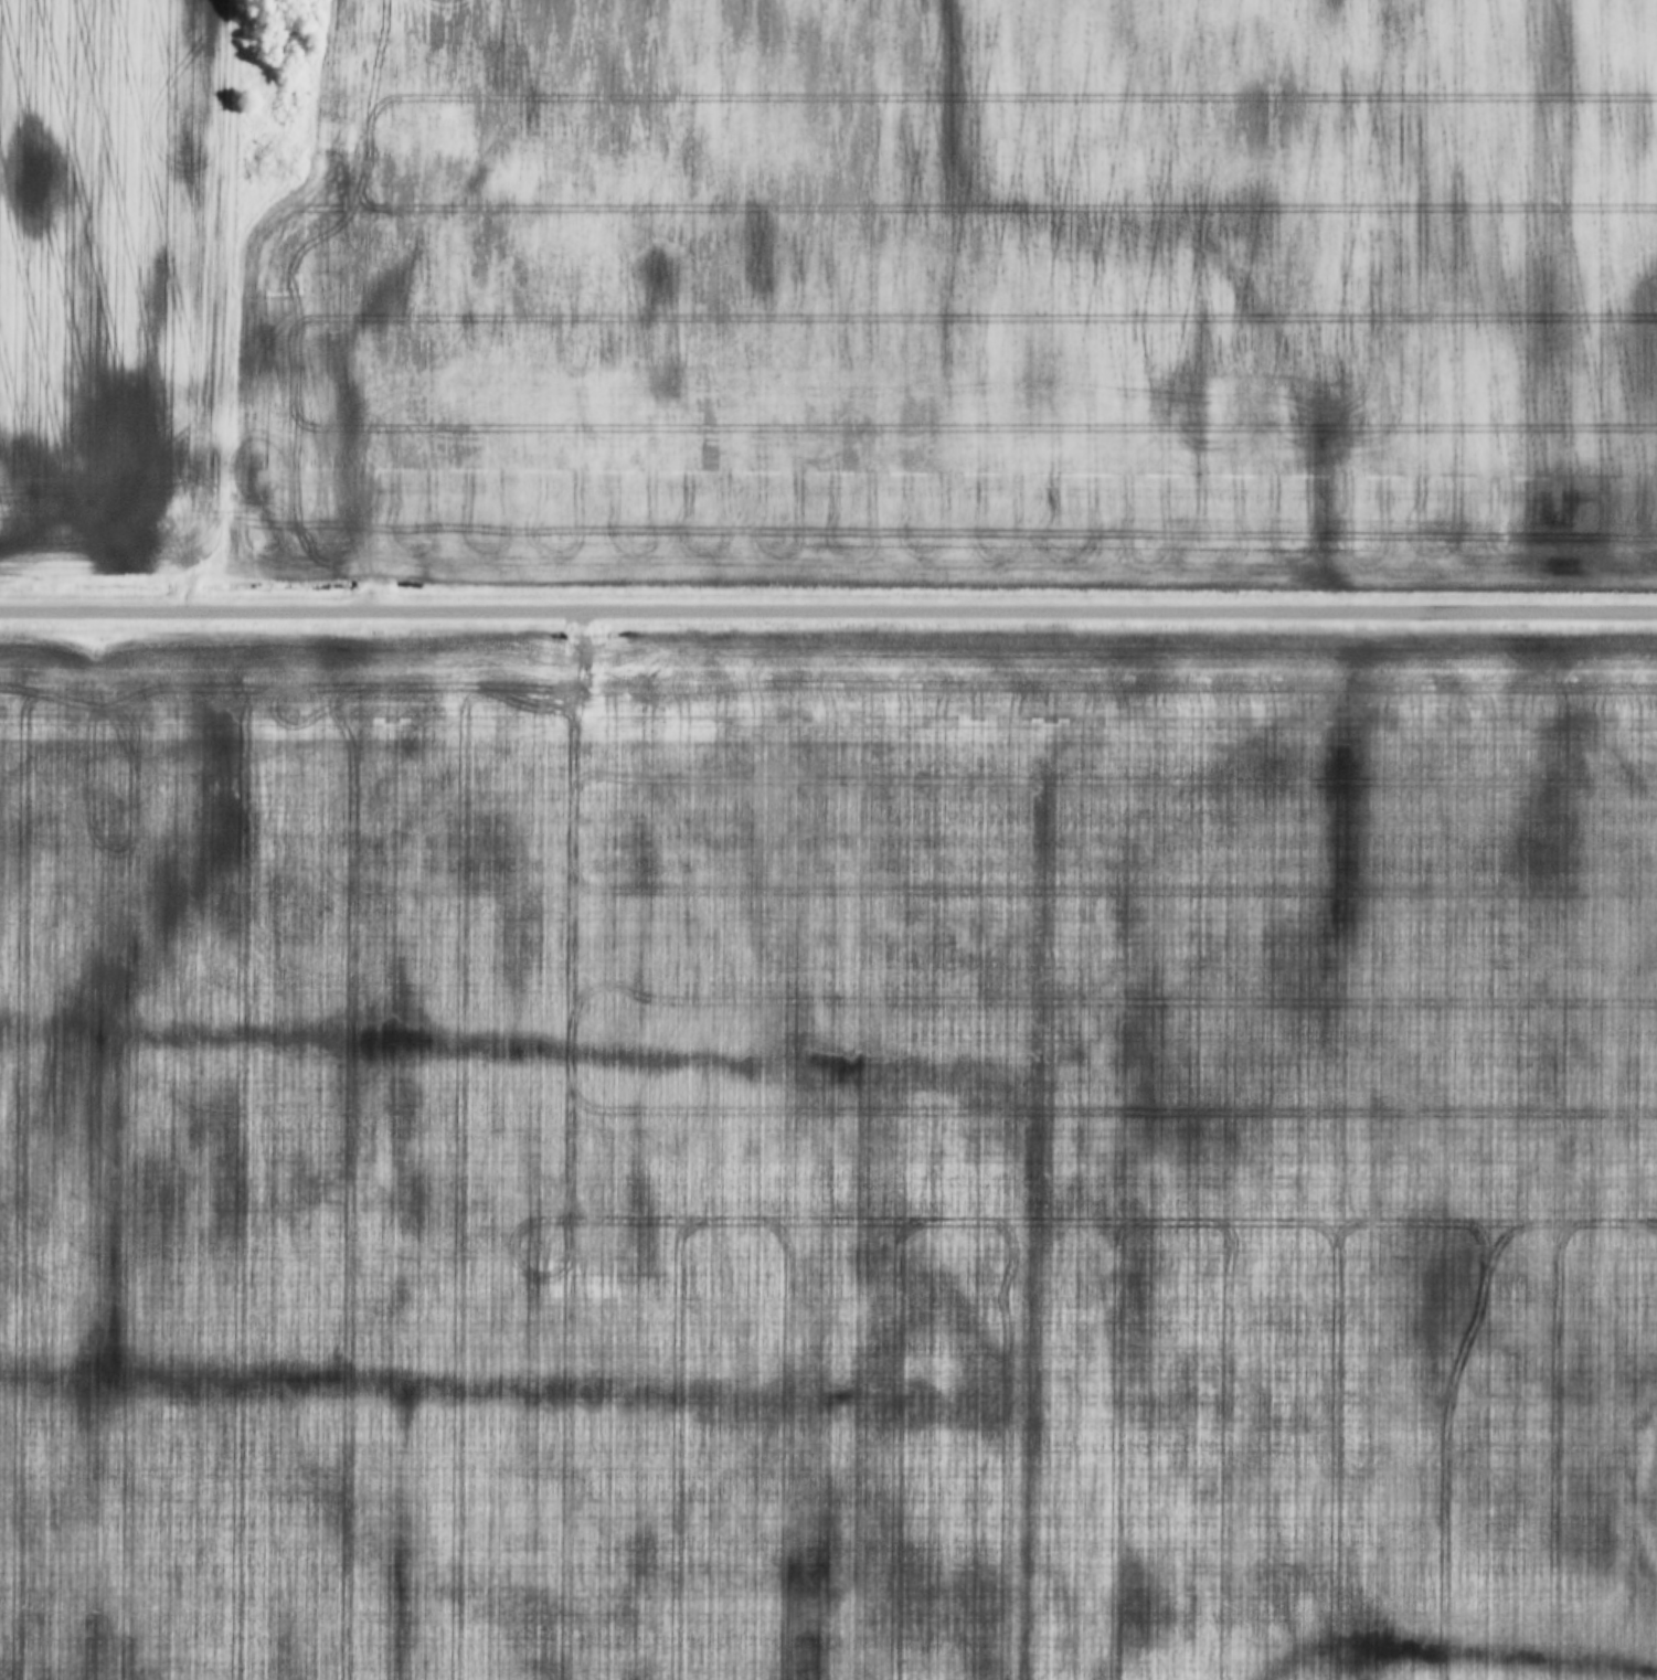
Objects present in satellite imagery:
road: (828, 610)

